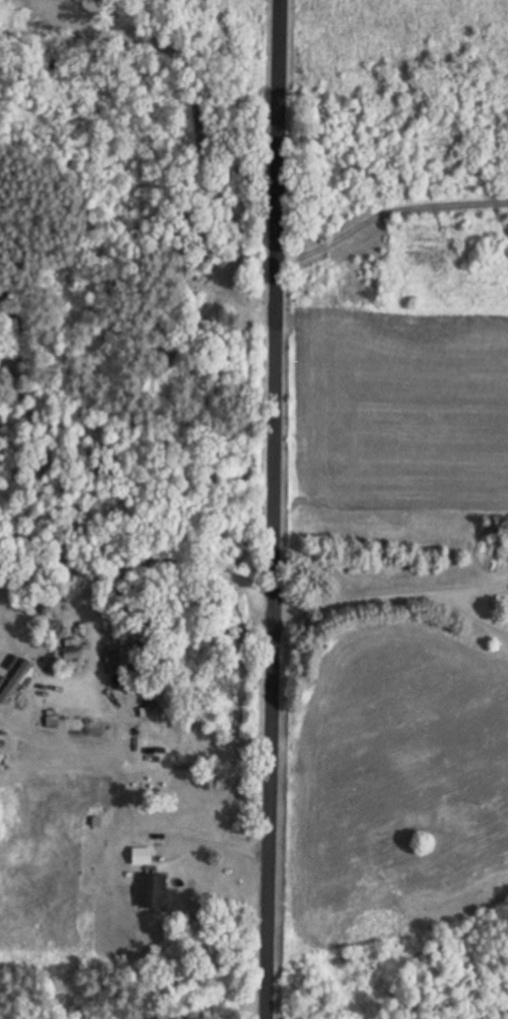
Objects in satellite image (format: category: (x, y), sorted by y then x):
road: (388, 210)
road: (276, 509)
crop: (389, 620)
building: (120, 662)
building: (16, 682)
building: (2, 761)
building: (142, 856)
building: (155, 892)

